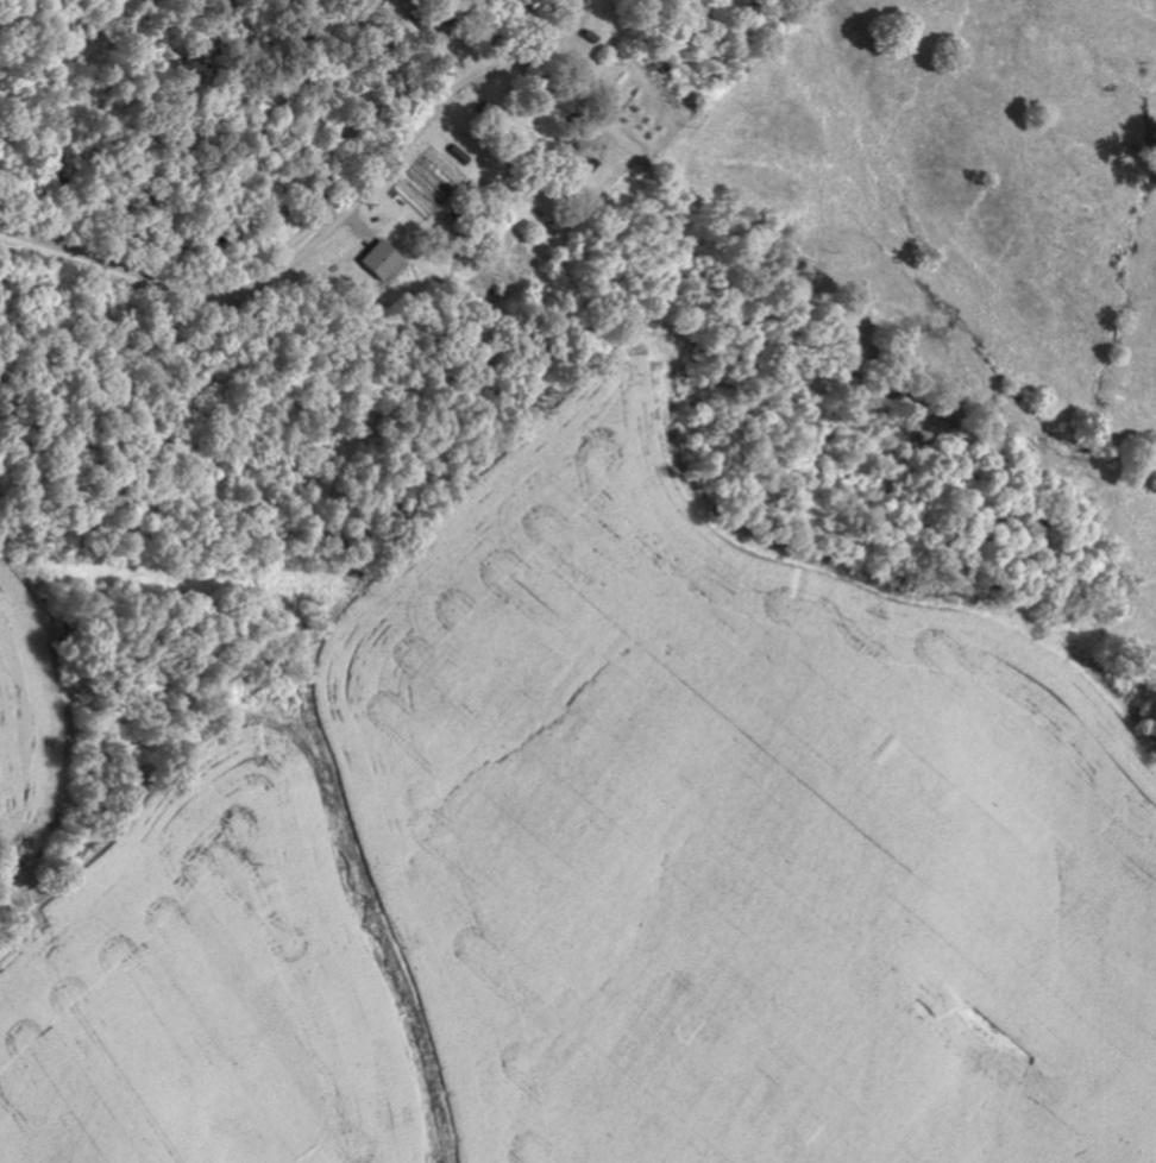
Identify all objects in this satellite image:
road: (973, 117)
building: (385, 260)

